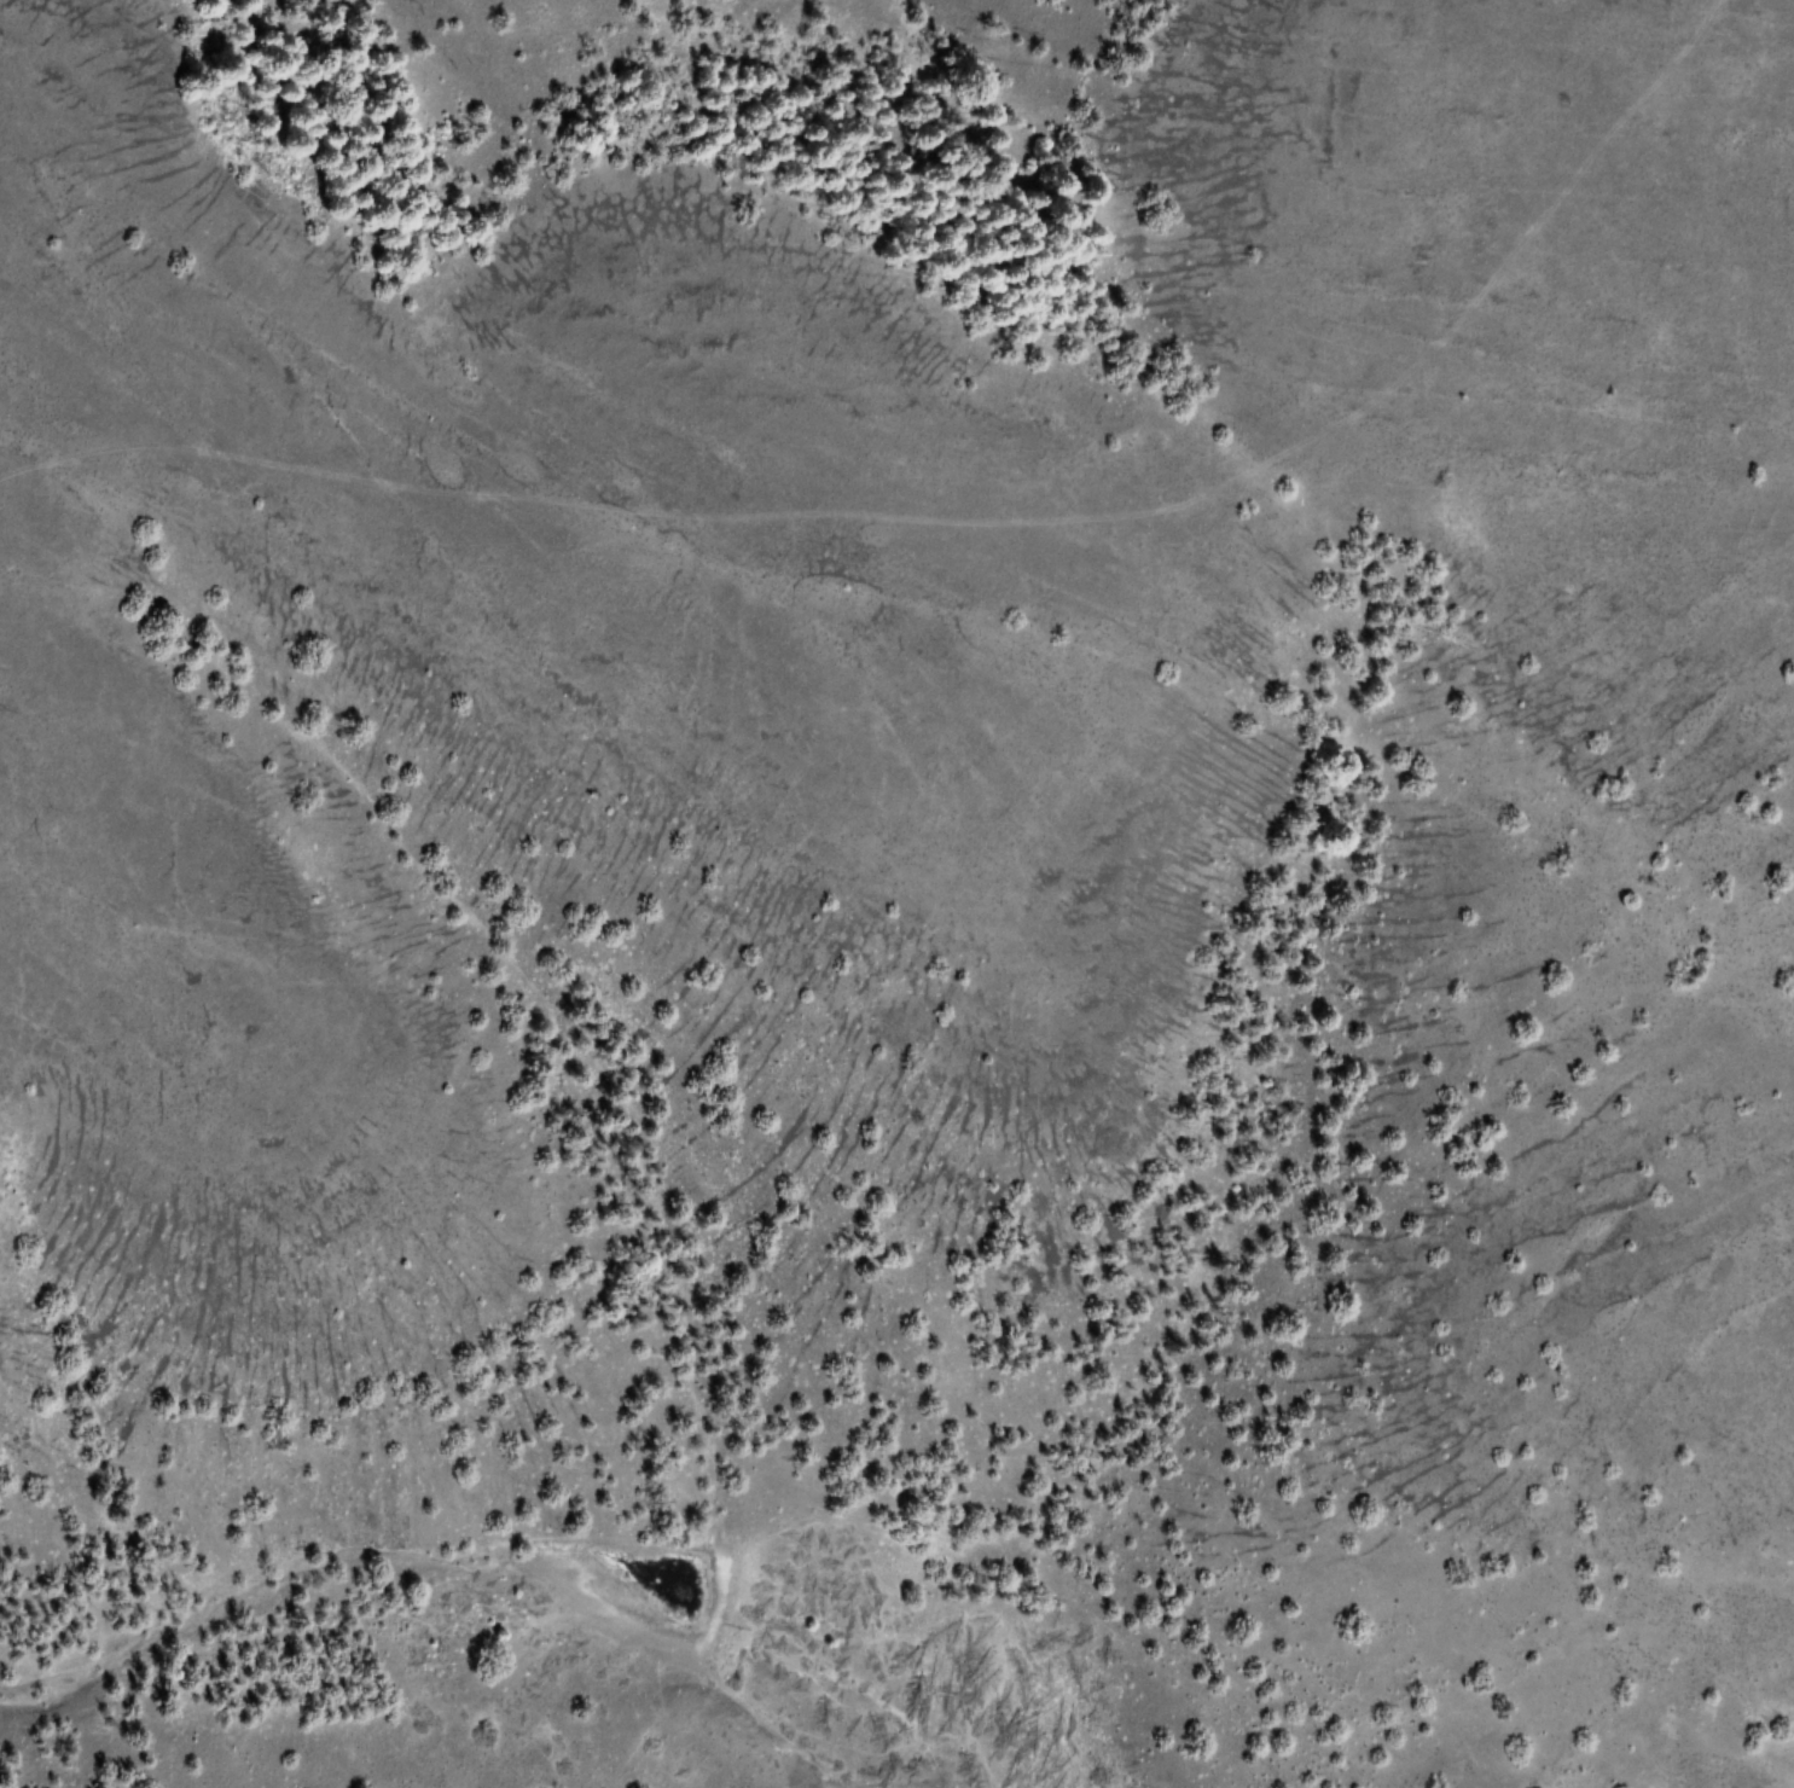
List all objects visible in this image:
road: (954, 516)

